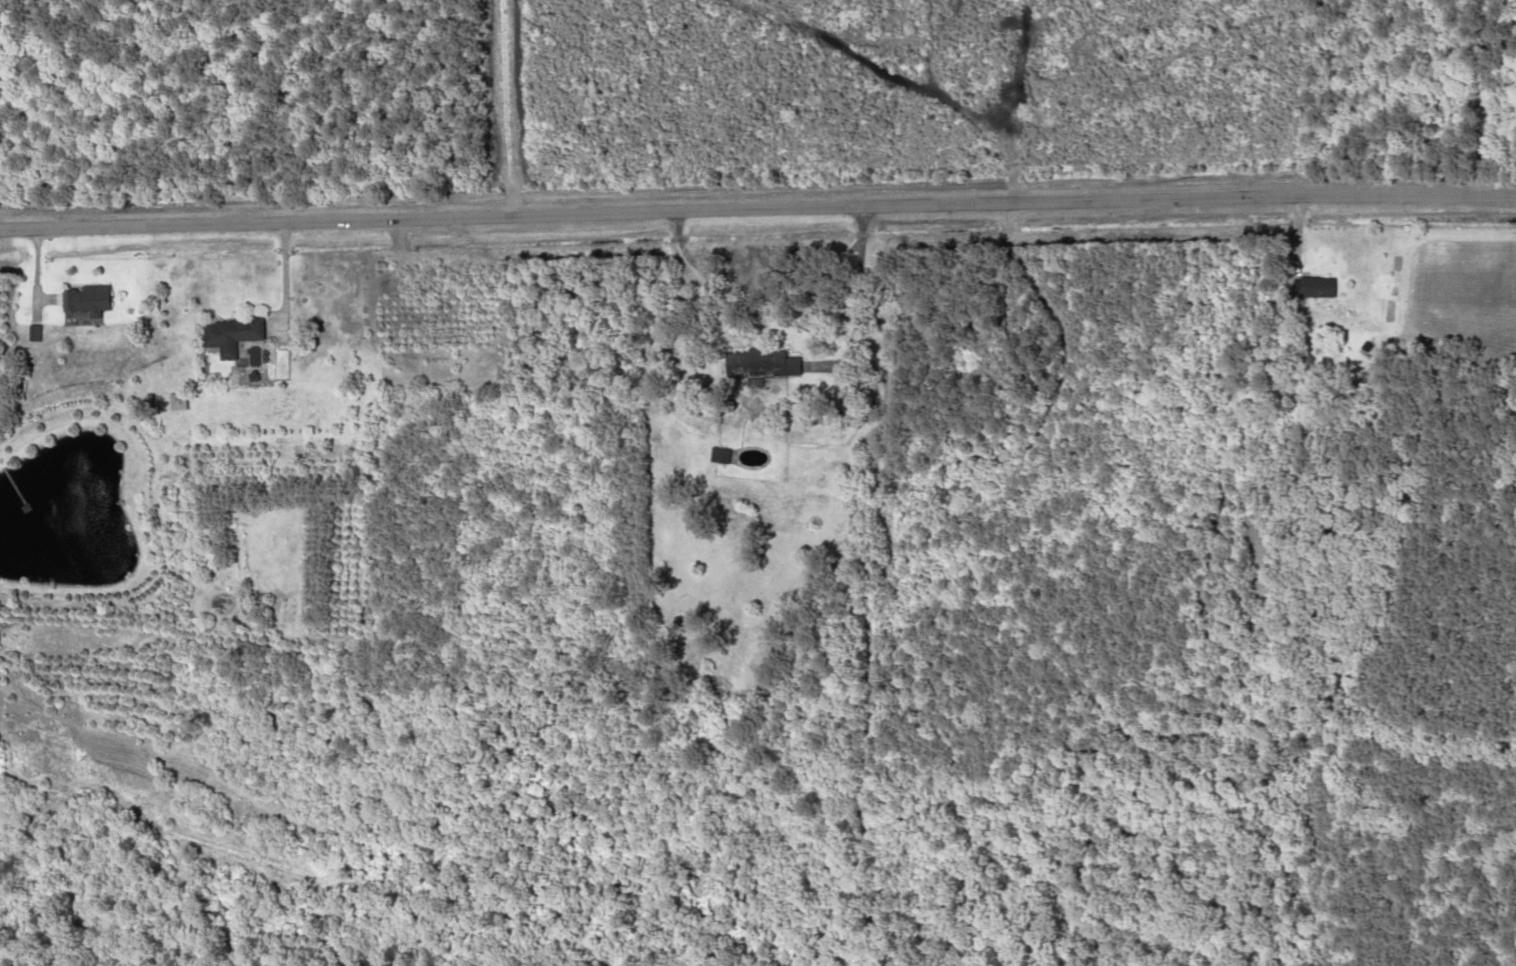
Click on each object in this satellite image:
road: (757, 206)
building: (1315, 285)
building: (83, 297)
building: (229, 331)
building: (763, 363)
building: (175, 401)
building: (717, 455)

